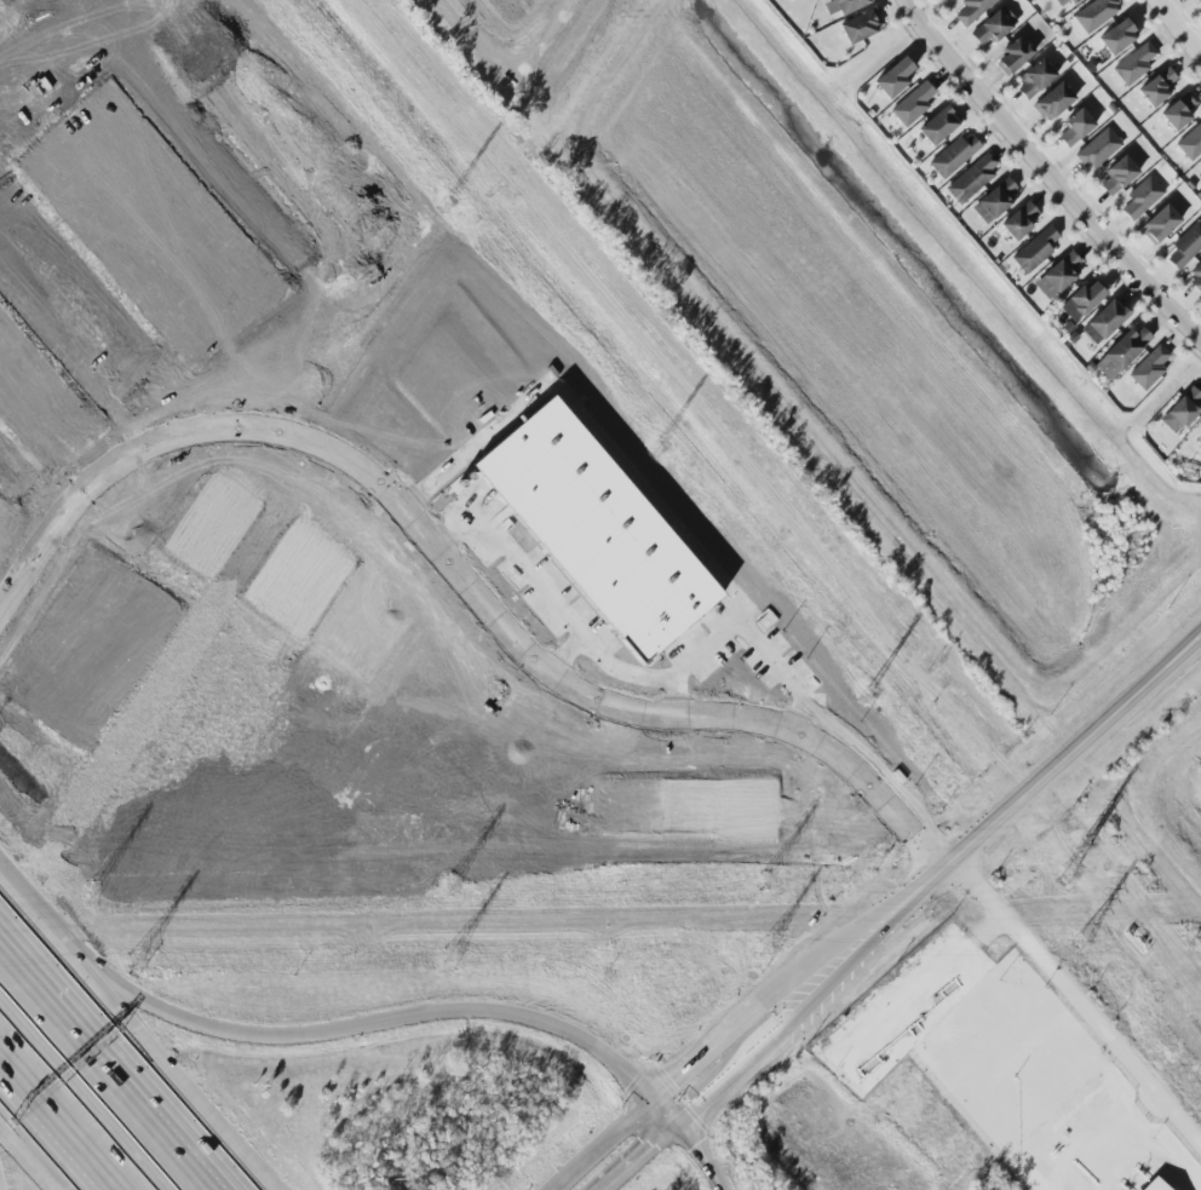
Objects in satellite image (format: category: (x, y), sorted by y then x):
building: (1196, 0)
building: (1063, 2)
building: (841, 5)
building: (971, 10)
building: (1091, 16)
building: (860, 27)
road: (1179, 27)
building: (990, 28)
building: (1117, 36)
building: (1012, 54)
building: (1133, 64)
building: (892, 77)
building: (1033, 79)
building: (1156, 87)
building: (1053, 102)
building: (912, 104)
building: (1178, 110)
building: (937, 125)
building: (1075, 127)
building: (1191, 143)
building: (1098, 148)
building: (954, 154)
building: (1199, 172)
road: (1047, 173)
building: (1117, 174)
building: (971, 178)
building: (1140, 197)
building: (994, 200)
power tower: (443, 205)
road: (207, 208)
building: (1018, 220)
building: (1159, 224)
building: (1185, 245)
building: (1034, 249)
building: (1058, 274)
building: (1196, 278)
road: (65, 295)
building: (1082, 300)
building: (1103, 321)
building: (1121, 351)
building: (1149, 367)
building: (1180, 409)
building: (1199, 439)
power tower: (654, 450)
road: (197, 466)
road: (270, 472)
road: (628, 476)
road: (331, 490)
road: (88, 491)
road: (131, 500)
road: (354, 536)
road: (363, 565)
road: (546, 598)
road: (565, 655)
road: (690, 662)
road: (559, 678)
power tower: (864, 696)
road: (1073, 749)
road: (764, 759)
road: (800, 816)
power tower: (1081, 845)
power tower: (771, 873)
power tower: (1067, 873)
power tower: (93, 893)
power tower: (456, 897)
road: (777, 897)
road: (851, 932)
road: (868, 945)
power tower: (1078, 945)
power tower: (770, 949)
power tower: (138, 960)
power tower: (456, 964)
road: (1076, 1008)
road: (163, 1011)
road: (506, 1014)
road: (138, 1033)
road: (706, 1054)
road: (108, 1059)
road: (105, 1070)
road: (731, 1077)
traffic signals: (674, 1083)
road: (76, 1102)
road: (662, 1115)
road: (54, 1128)
road: (1137, 1142)
traffic signals: (651, 1145)
road: (604, 1146)
traffic signals: (691, 1149)
road: (27, 1157)
road: (636, 1157)
road: (699, 1157)
building: (1154, 1185)

